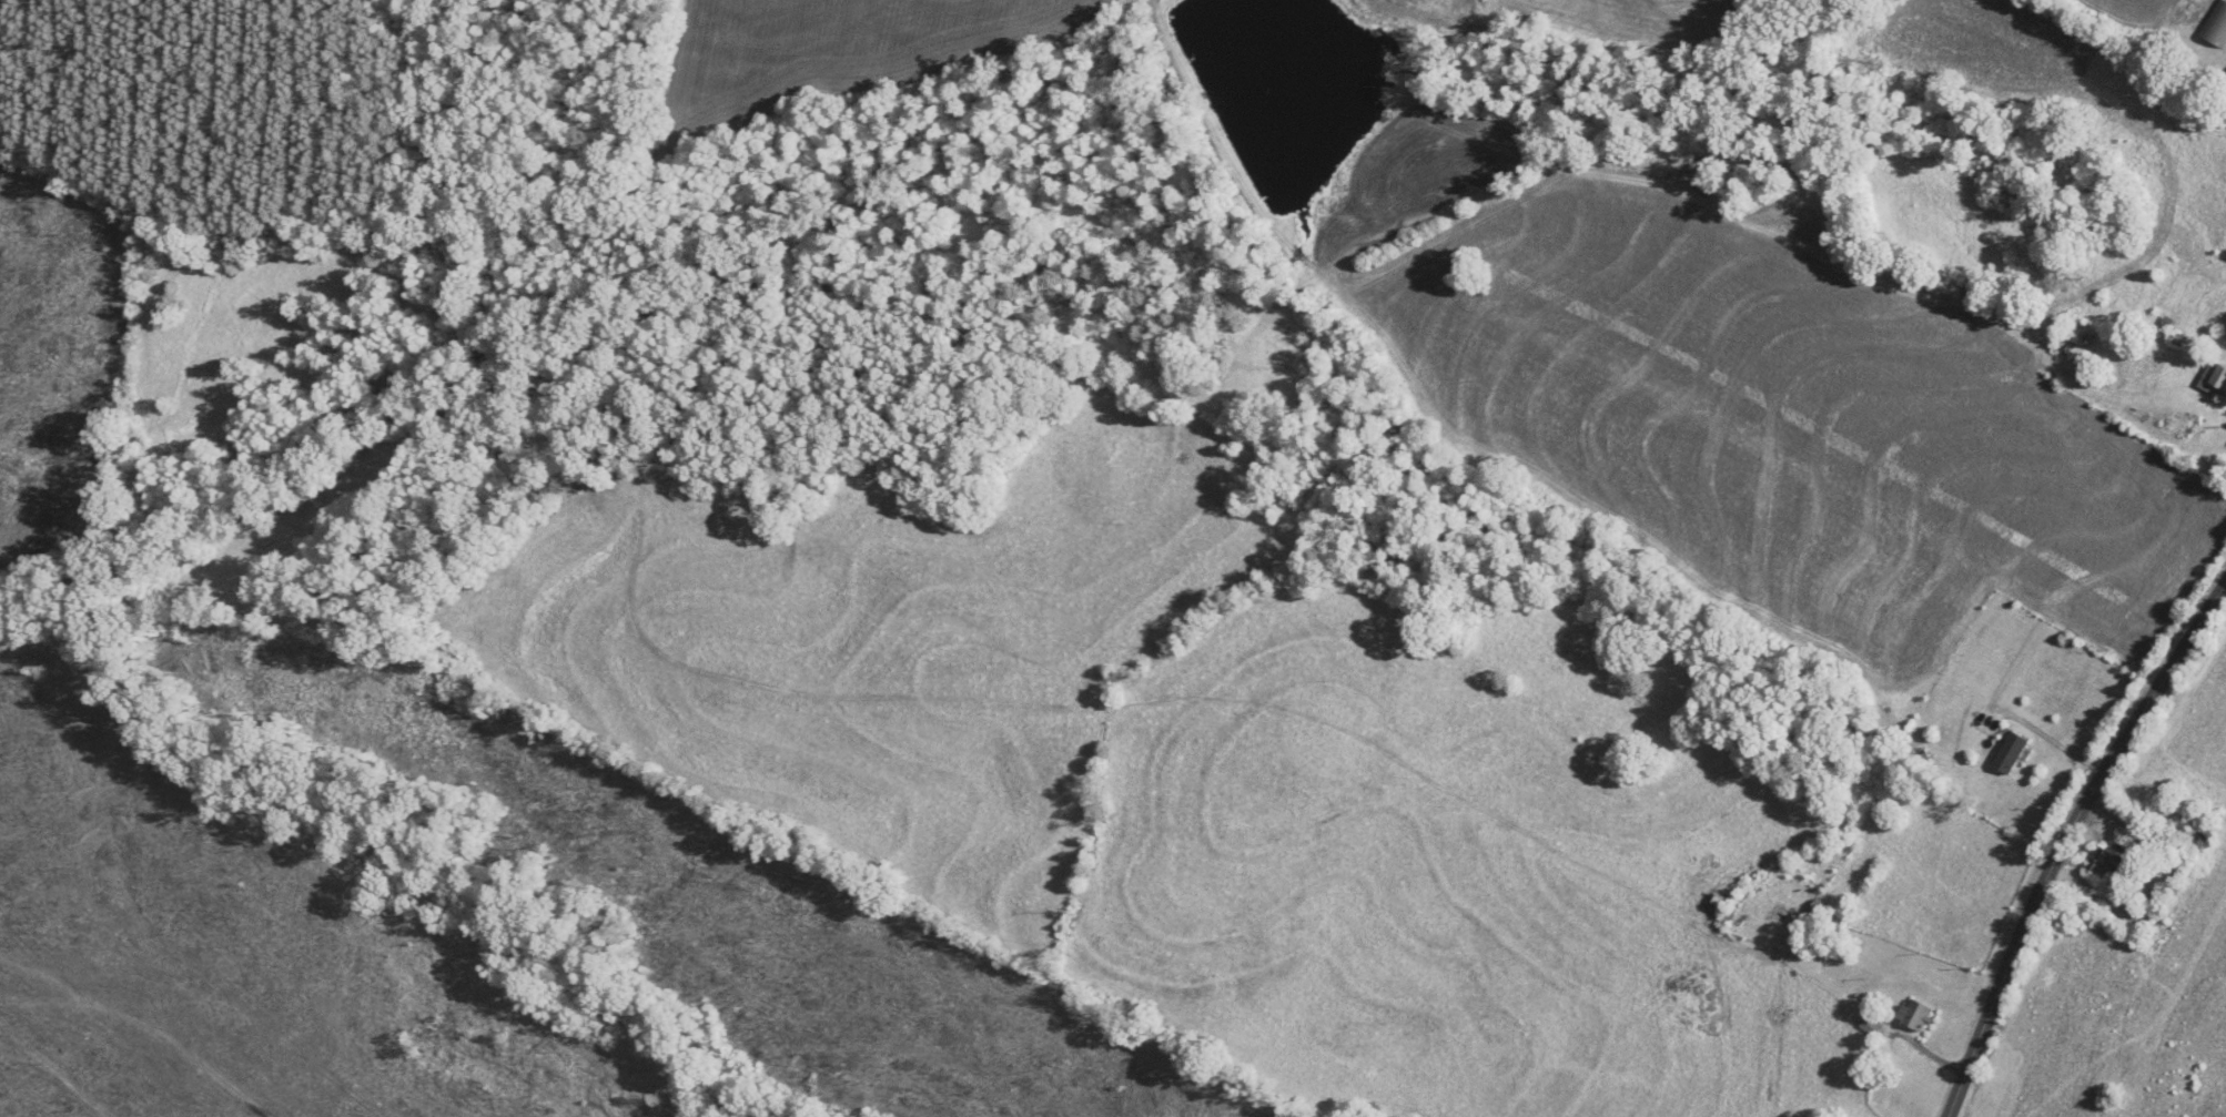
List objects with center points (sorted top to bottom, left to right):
building: (2216, 24)
building: (2214, 379)
road: (2058, 742)
building: (2012, 753)
road: (2066, 837)
building: (2105, 861)
building: (1821, 917)
building: (1916, 1015)
building: (1872, 1027)

